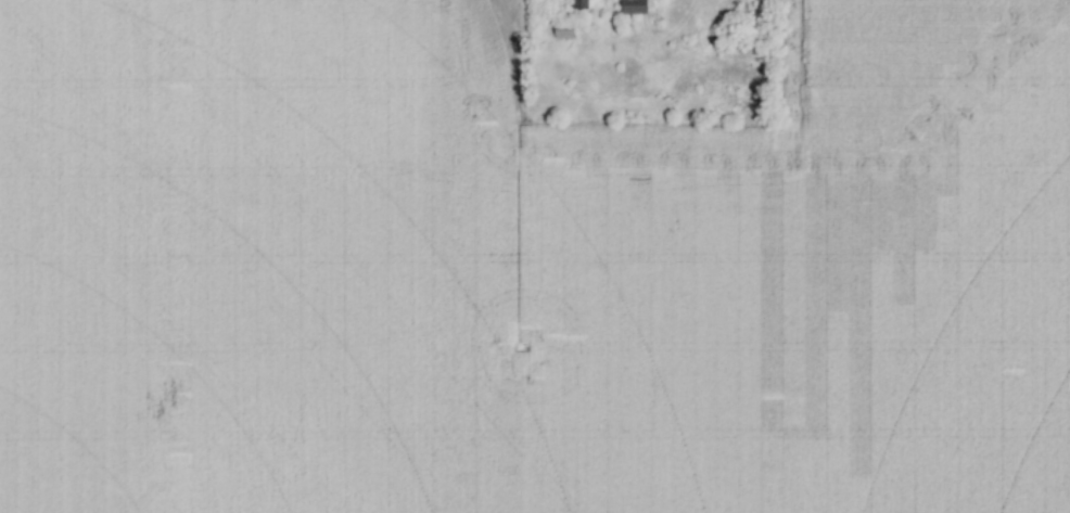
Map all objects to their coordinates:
building: (577, 4)
building: (630, 8)
building: (561, 30)

